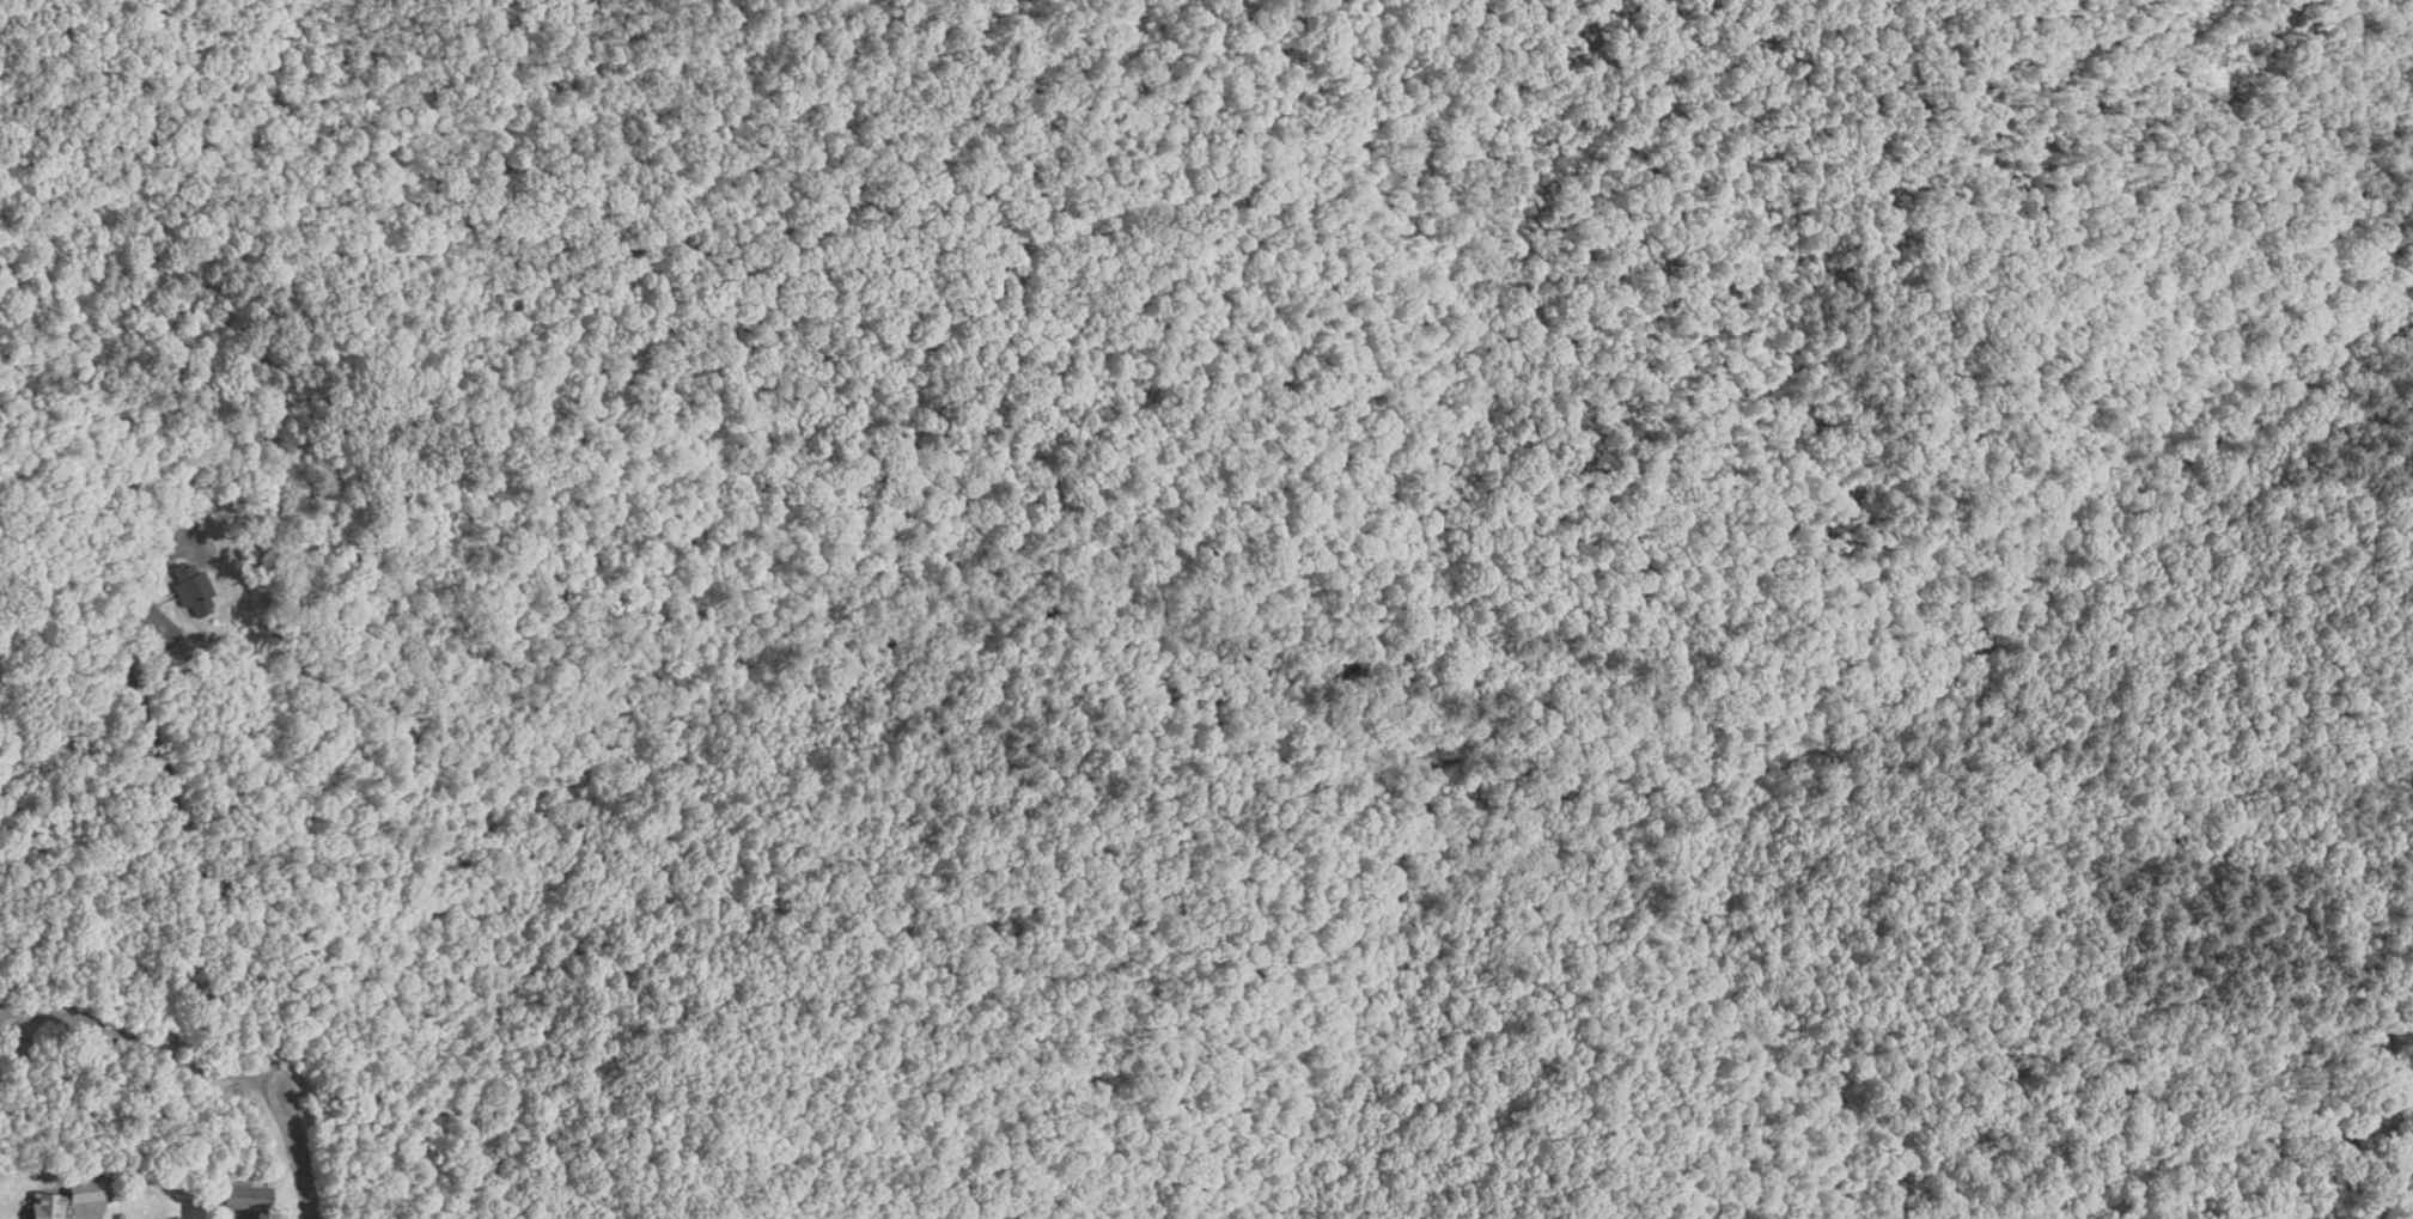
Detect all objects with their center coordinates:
road: (139, 1041)
road: (295, 1147)
road: (2382, 1152)
building: (249, 1199)
building: (61, 1201)

